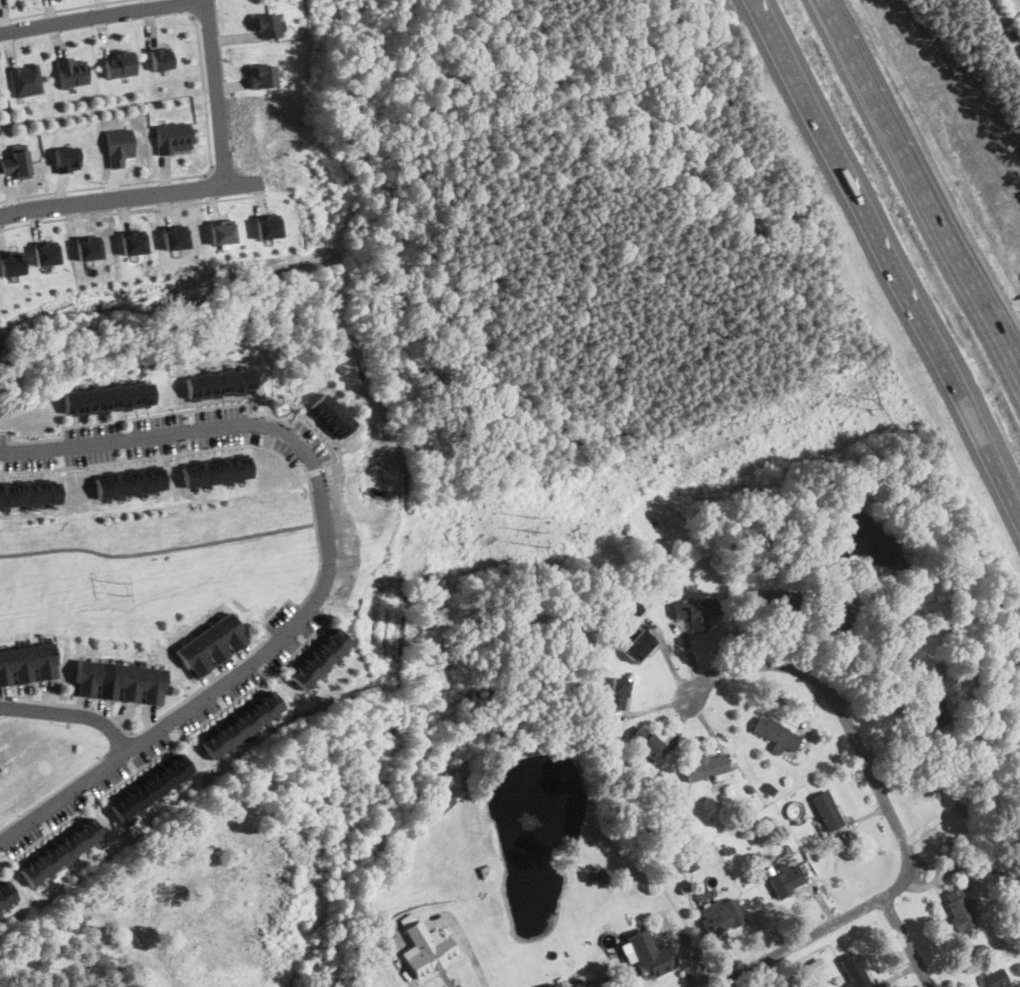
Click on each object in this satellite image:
road: (191, 8)
road: (65, 9)
road: (103, 15)
building: (269, 25)
building: (162, 58)
building: (120, 63)
building: (74, 71)
building: (262, 75)
building: (27, 80)
road: (217, 93)
building: (172, 136)
building: (120, 145)
road: (838, 148)
building: (67, 159)
building: (17, 161)
road: (911, 164)
road: (184, 177)
road: (209, 187)
road: (131, 197)
road: (133, 210)
building: (268, 225)
building: (222, 231)
building: (176, 236)
building: (134, 242)
building: (88, 246)
building: (46, 252)
building: (11, 263)
road: (1009, 349)
building: (219, 383)
building: (109, 398)
road: (968, 401)
power tower: (866, 402)
road: (185, 411)
building: (329, 415)
road: (163, 433)
road: (159, 457)
building: (218, 471)
road: (316, 471)
building: (131, 481)
building: (31, 492)
power tower: (537, 529)
road: (157, 547)
power tower: (119, 588)
building: (783, 605)
building: (699, 611)
building: (840, 620)
building: (211, 645)
building: (639, 645)
building: (896, 655)
building: (319, 657)
building: (26, 664)
road: (233, 665)
building: (118, 681)
road: (221, 685)
building: (616, 692)
building: (933, 708)
road: (71, 714)
building: (242, 725)
building: (776, 733)
road: (119, 743)
building: (650, 747)
building: (706, 765)
building: (150, 786)
road: (54, 792)
building: (442, 804)
road: (889, 804)
building: (827, 809)
building: (59, 850)
building: (787, 881)
building: (2, 901)
building: (959, 909)
building: (722, 915)
road: (909, 940)
building: (427, 948)
building: (649, 953)
building: (812, 965)
building: (854, 971)
building: (999, 979)
building: (553, 984)
road: (722, 984)
building: (576, 985)
road: (414, 986)

